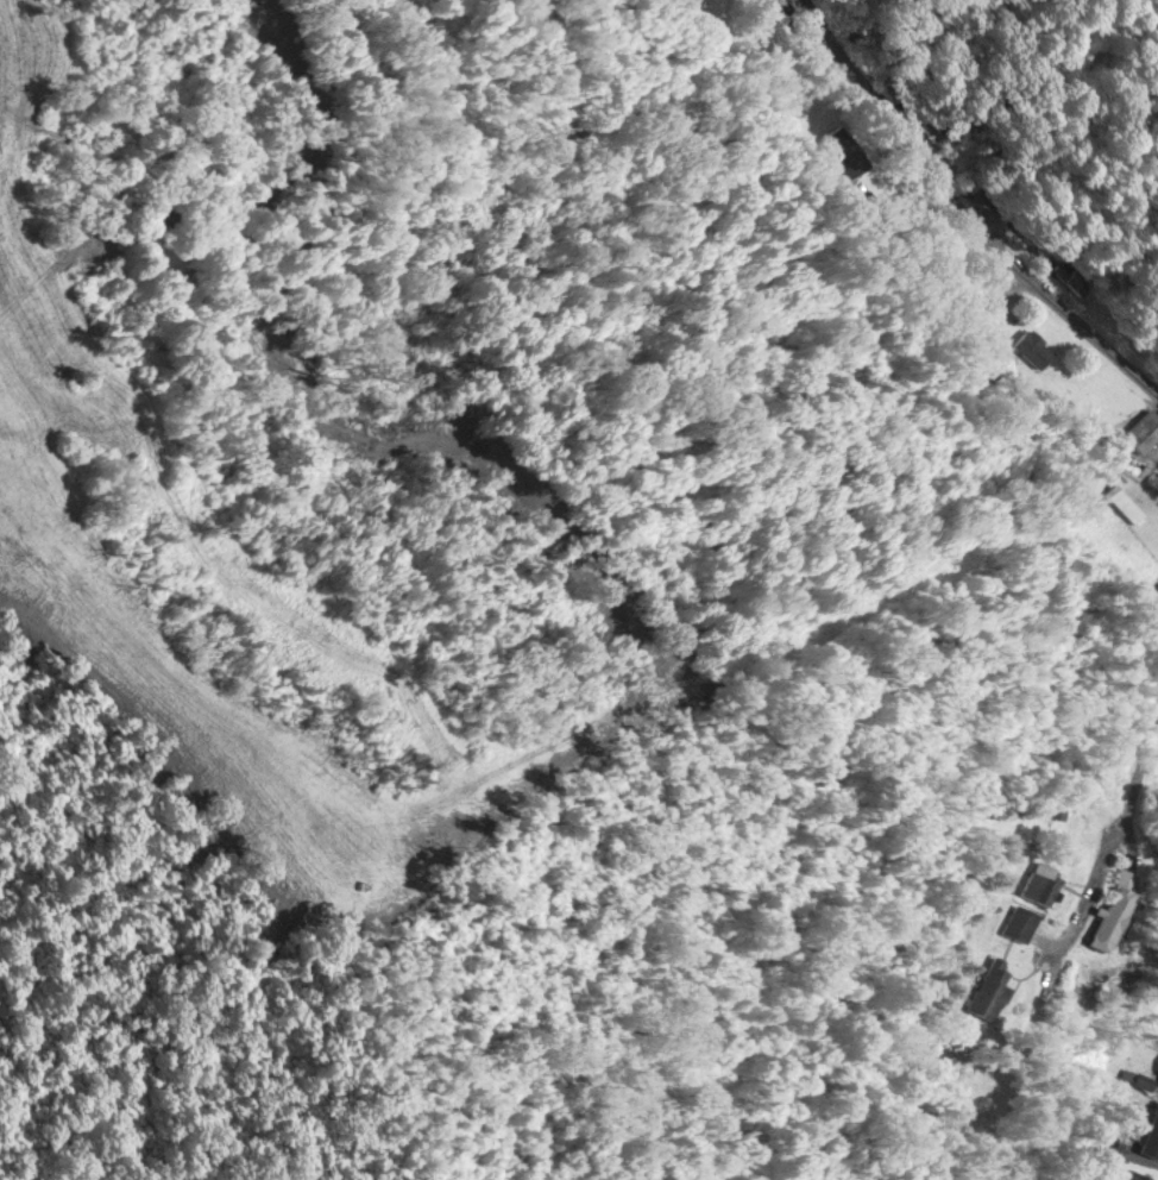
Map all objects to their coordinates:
road: (965, 212)
building: (1075, 283)
building: (1032, 347)
building: (1141, 431)
building: (1125, 502)
road: (1132, 808)
building: (1036, 884)
building: (1108, 908)
building: (1017, 921)
building: (986, 988)
building: (1157, 1079)
building: (1150, 1137)
building: (1129, 1174)
building: (1081, 1179)

